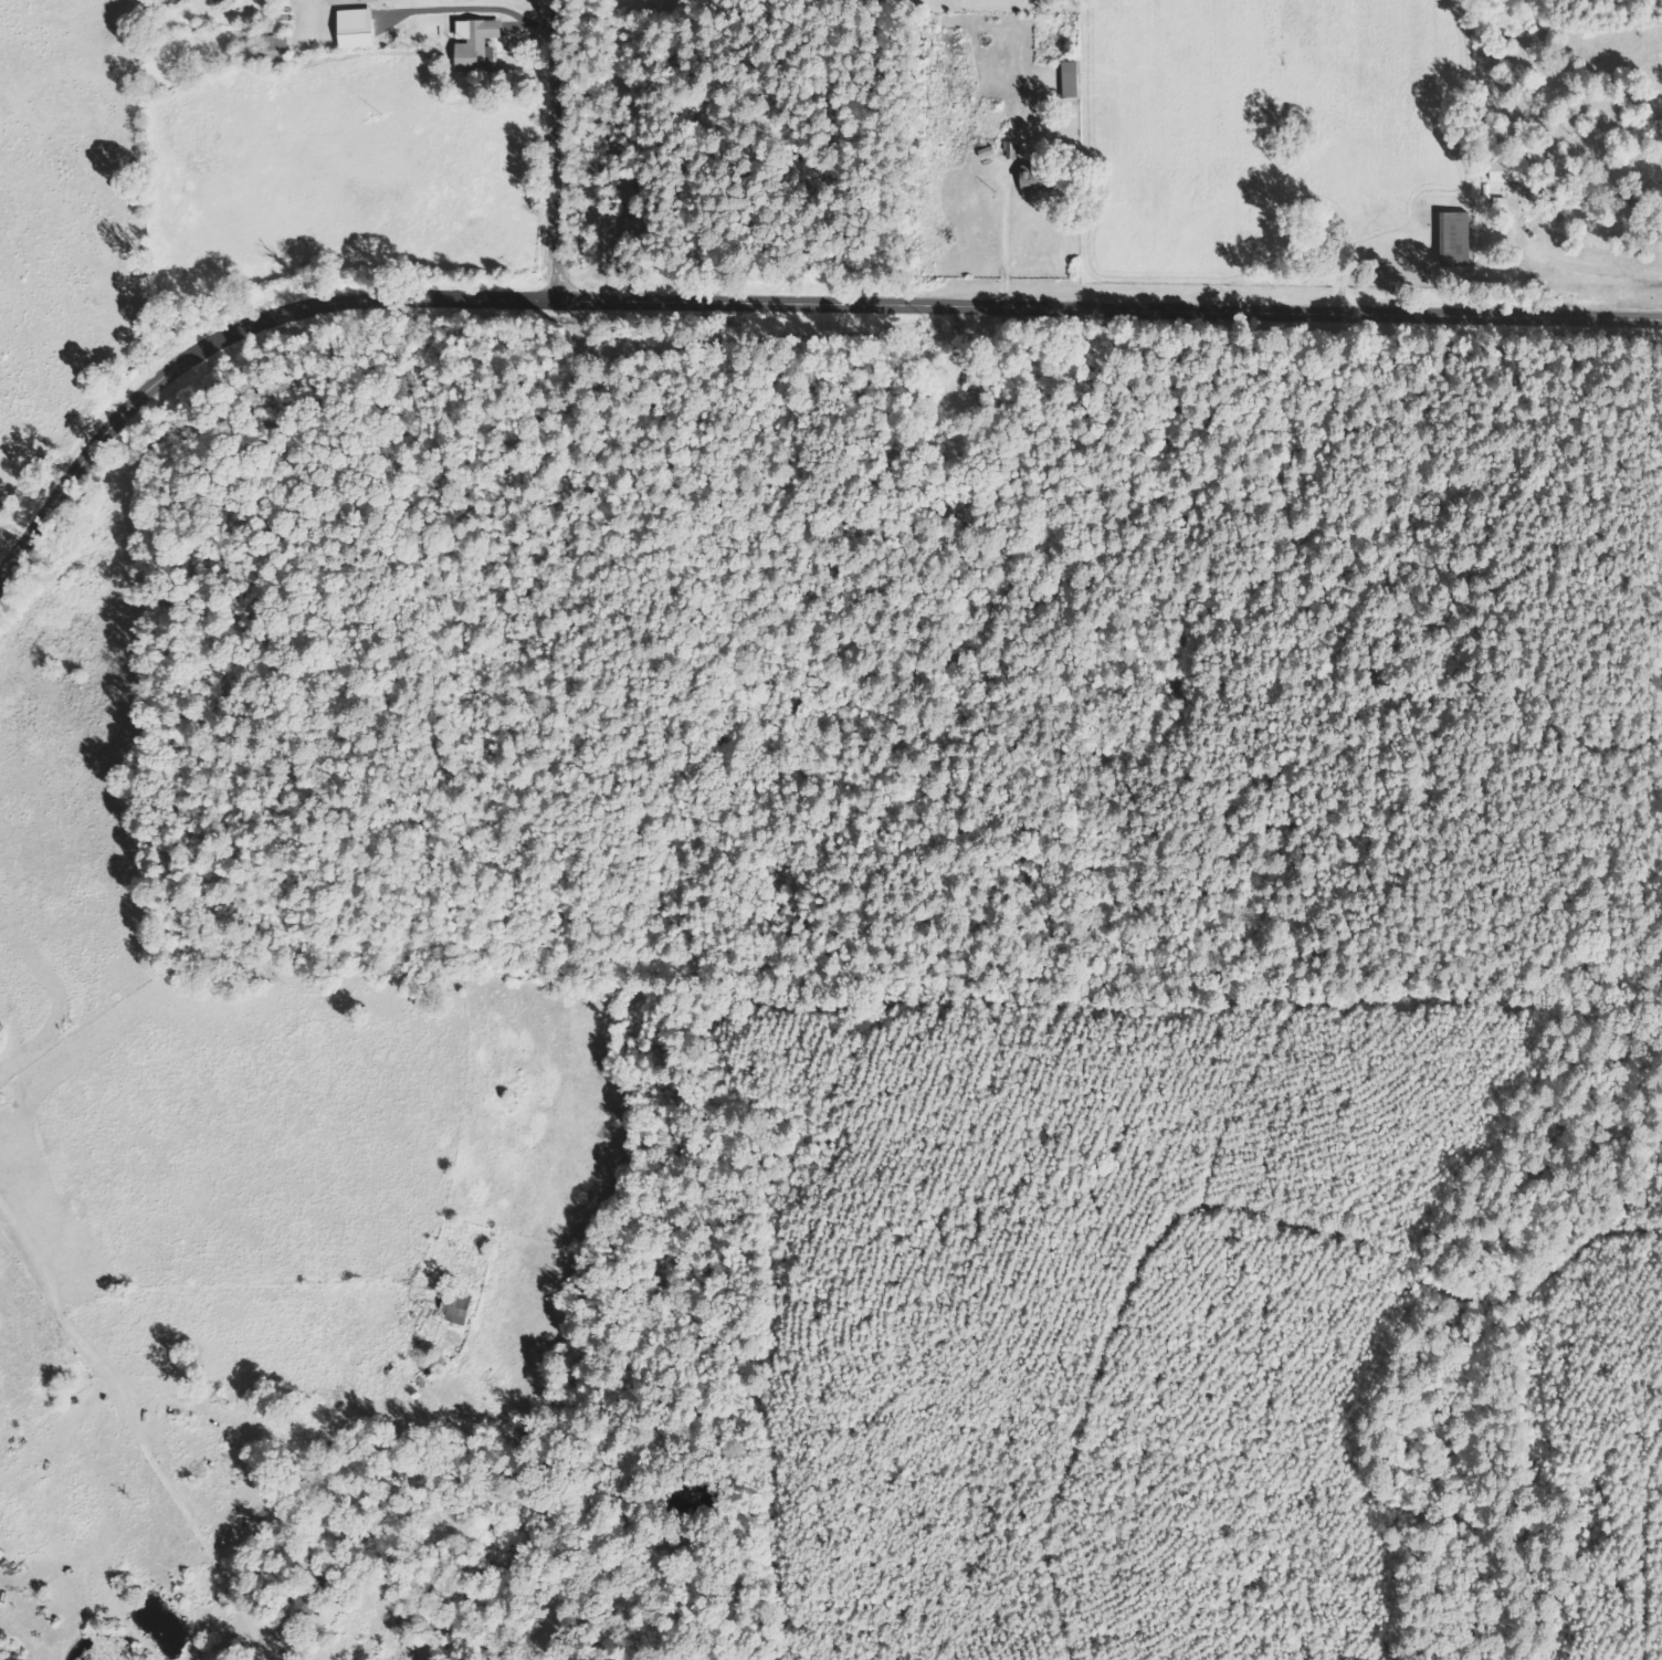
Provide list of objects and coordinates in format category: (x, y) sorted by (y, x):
building: (353, 2)
building: (356, 29)
building: (478, 44)
building: (277, 49)
building: (1071, 81)
road: (557, 151)
building: (1512, 170)
building: (1456, 239)
road: (770, 305)
building: (980, 384)
road: (137, 1438)

